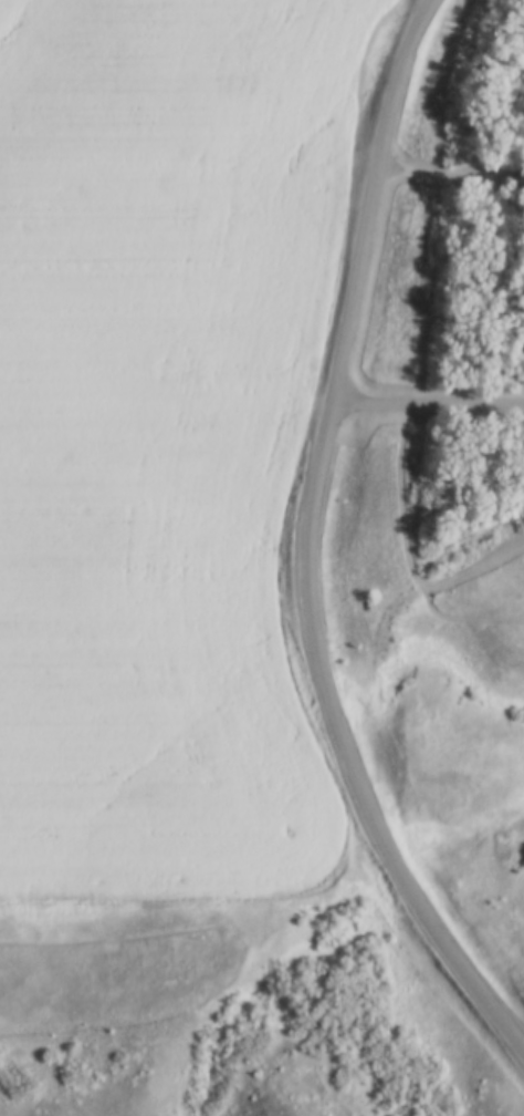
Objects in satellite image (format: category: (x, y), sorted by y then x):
road: (453, 177)
road: (429, 405)
road: (312, 540)

